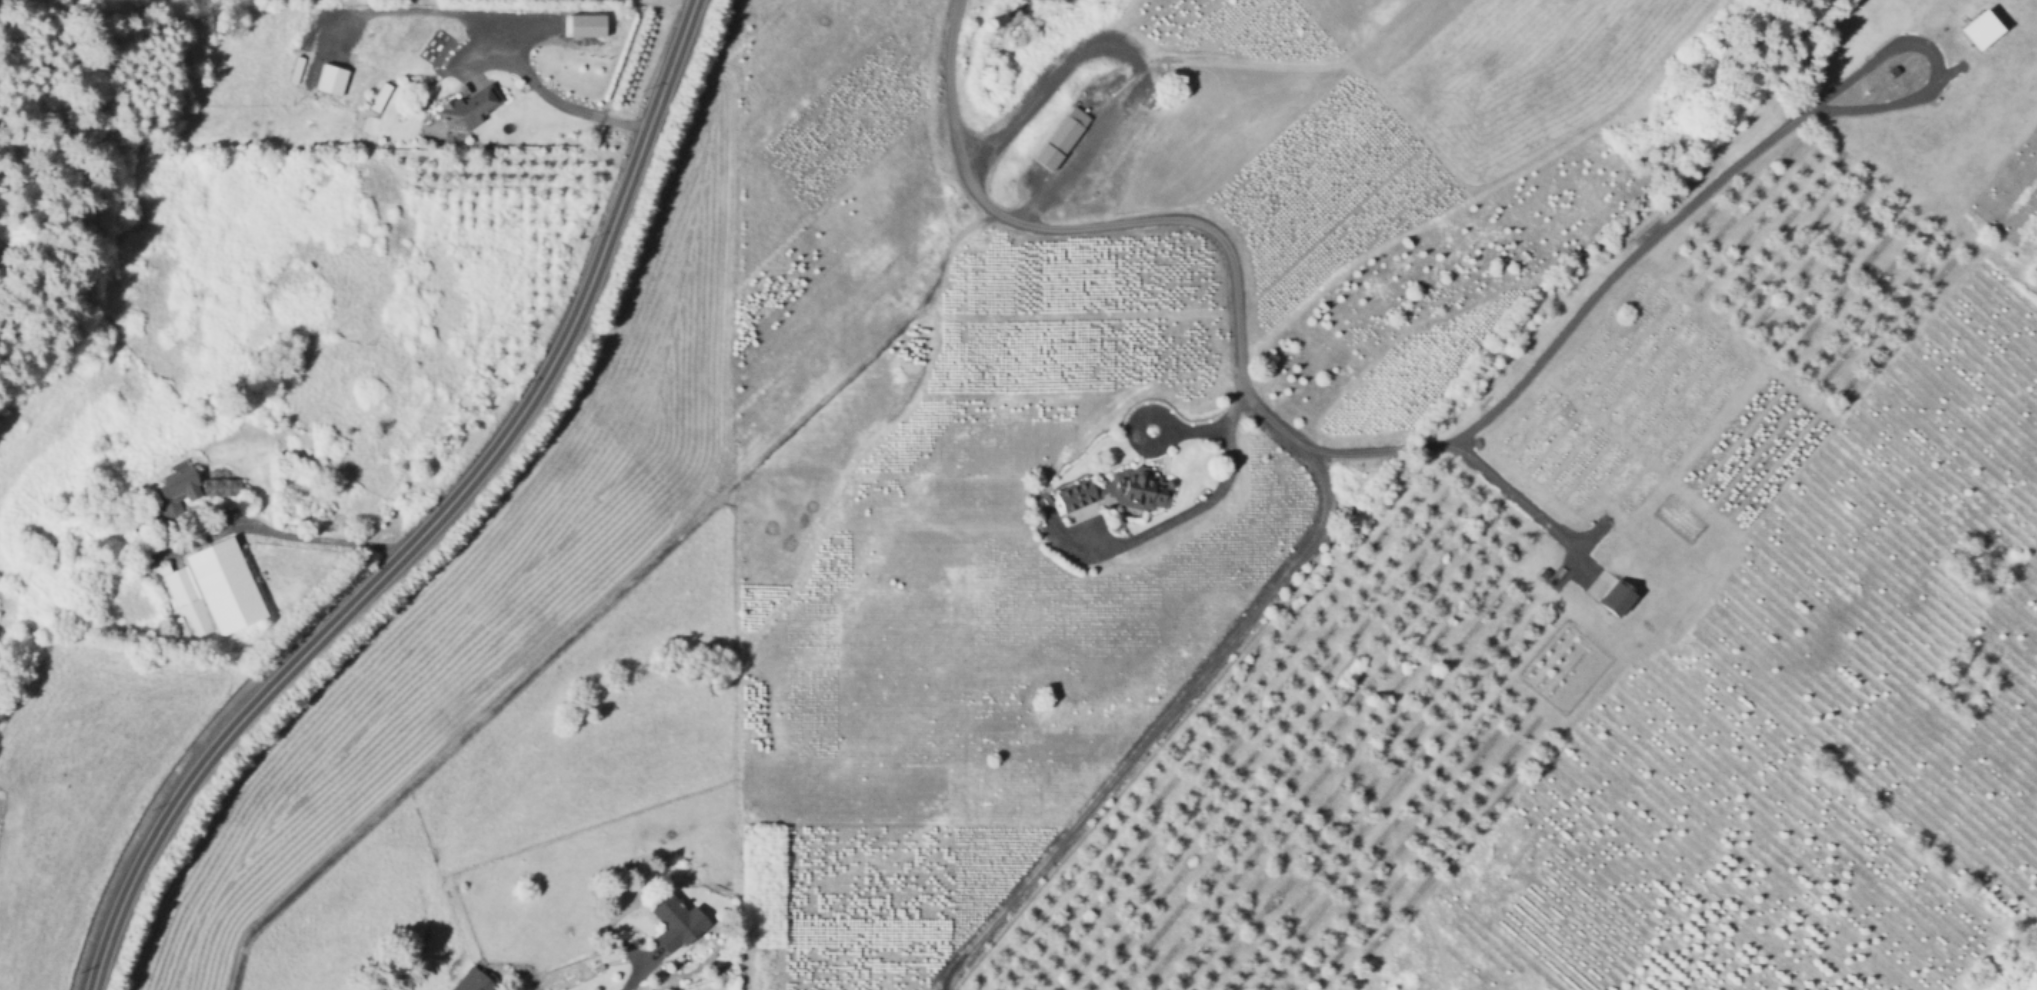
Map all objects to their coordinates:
building: (331, 80)
road: (554, 101)
building: (469, 110)
building: (1058, 143)
road: (1674, 211)
road: (1168, 421)
road: (1293, 445)
building: (192, 489)
road: (1508, 489)
building: (1120, 491)
road: (431, 520)
crop: (1226, 527)
road: (322, 537)
building: (215, 592)
building: (678, 921)
road: (638, 976)
building: (475, 980)

